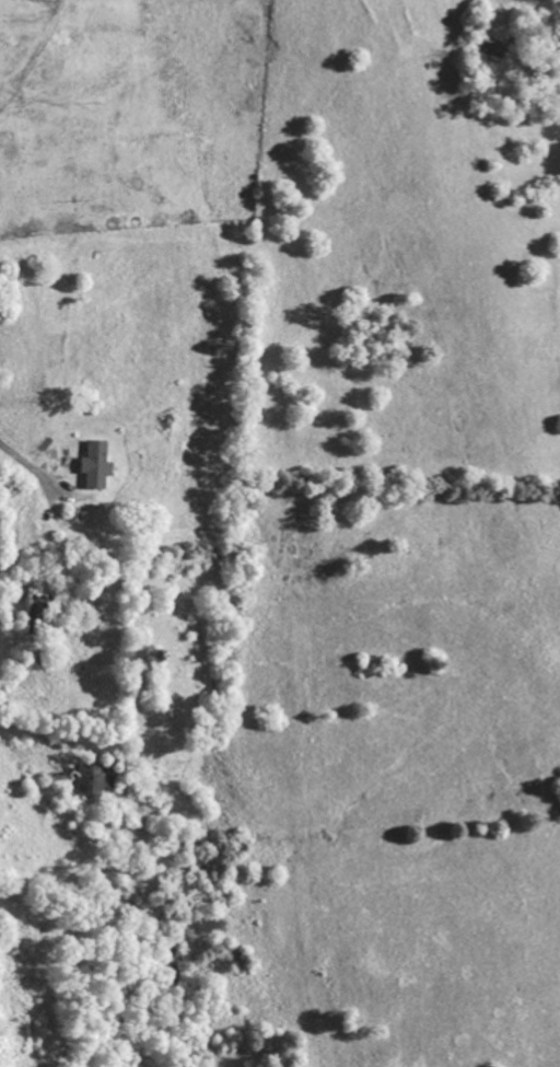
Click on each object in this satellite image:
road: (26, 465)
building: (97, 465)

